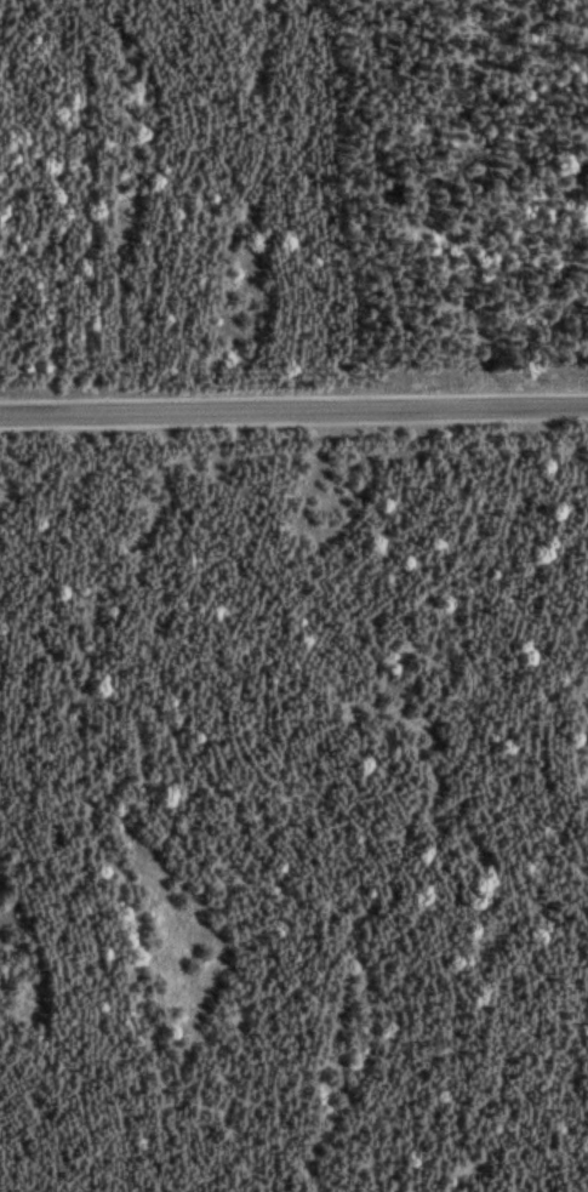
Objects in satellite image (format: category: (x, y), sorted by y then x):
road: (293, 418)

